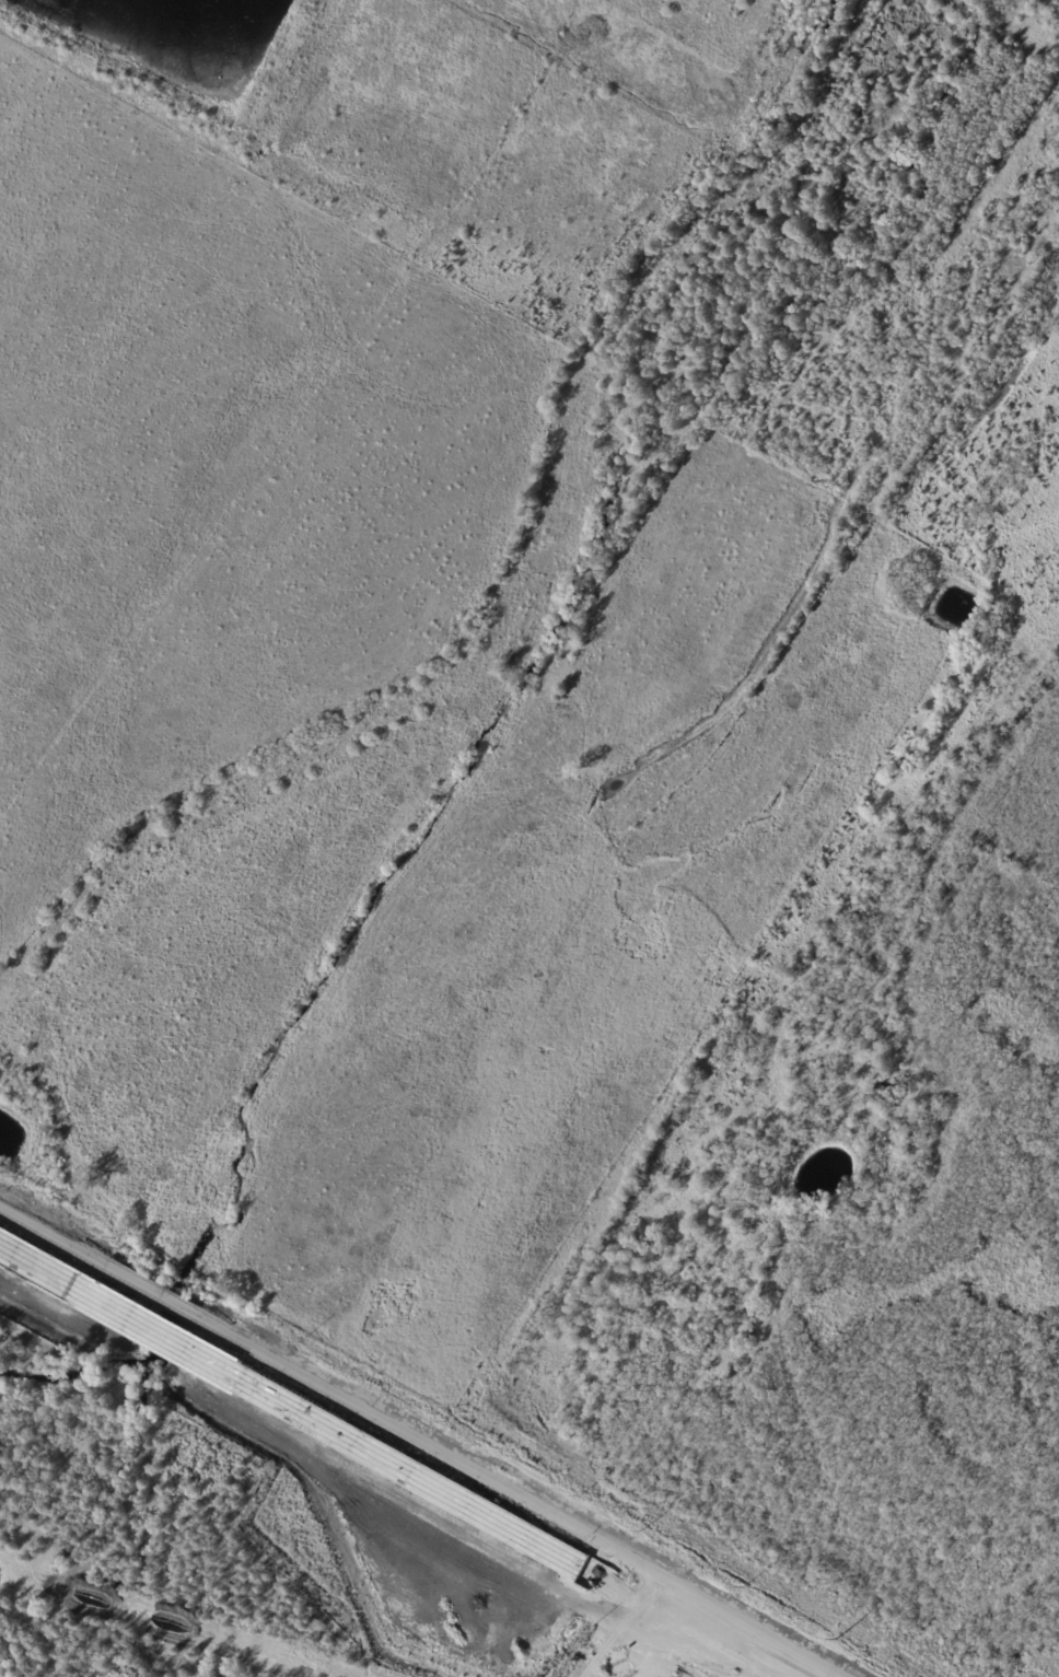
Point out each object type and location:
building: (888, 1096)
building: (750, 1203)
road: (37, 1230)
road: (150, 1292)
park: (647, 1352)
road: (534, 1505)
road: (625, 1628)

